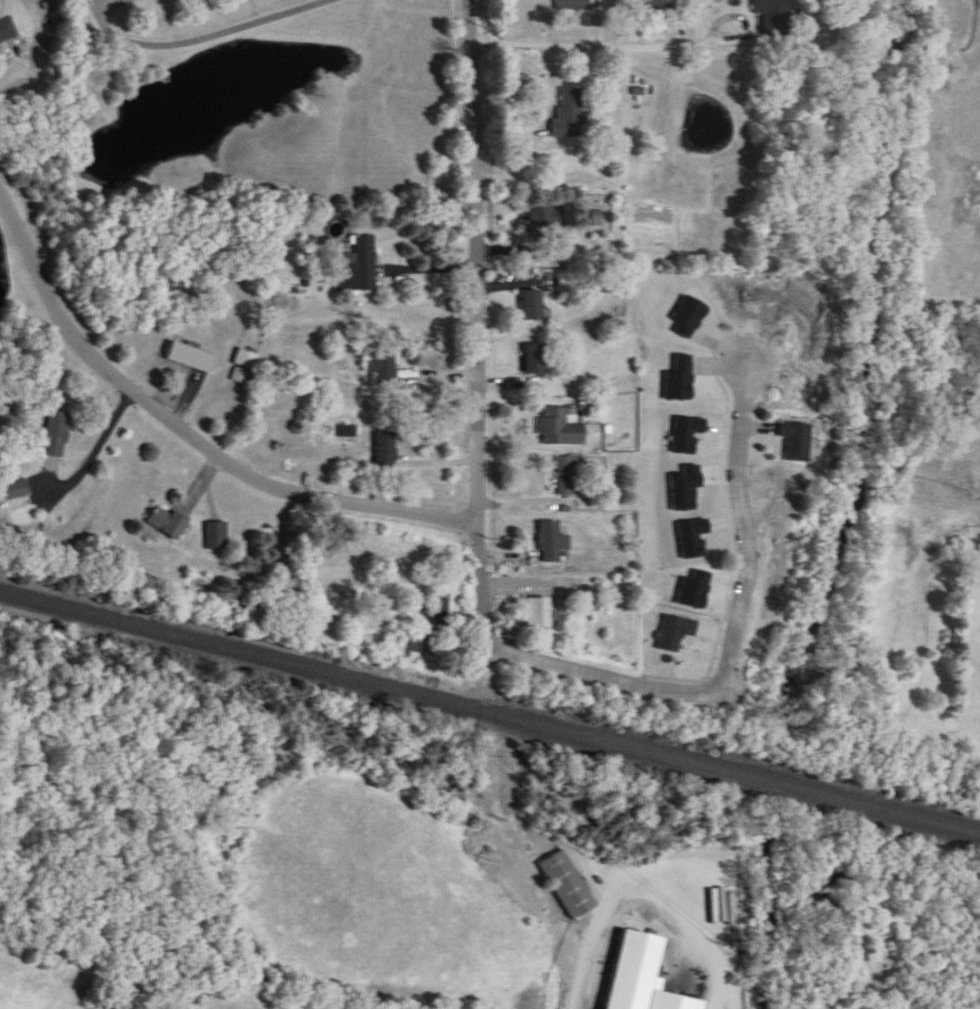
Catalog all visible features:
building: (574, 5)
building: (659, 7)
building: (772, 7)
building: (7, 27)
road: (198, 39)
road: (610, 52)
road: (39, 53)
building: (570, 114)
building: (546, 219)
building: (574, 256)
building: (364, 264)
building: (534, 307)
road: (480, 323)
building: (193, 356)
building: (247, 361)
building: (536, 361)
building: (383, 369)
building: (561, 428)
road: (191, 434)
building: (57, 436)
building: (796, 441)
building: (387, 449)
road: (540, 449)
road: (96, 453)
building: (568, 476)
building: (14, 492)
building: (170, 523)
building: (218, 536)
building: (553, 542)
building: (539, 610)
building: (438, 614)
building: (675, 632)
building: (413, 641)
road: (732, 647)
railway: (490, 698)
building: (570, 886)
road: (642, 892)
building: (640, 973)

